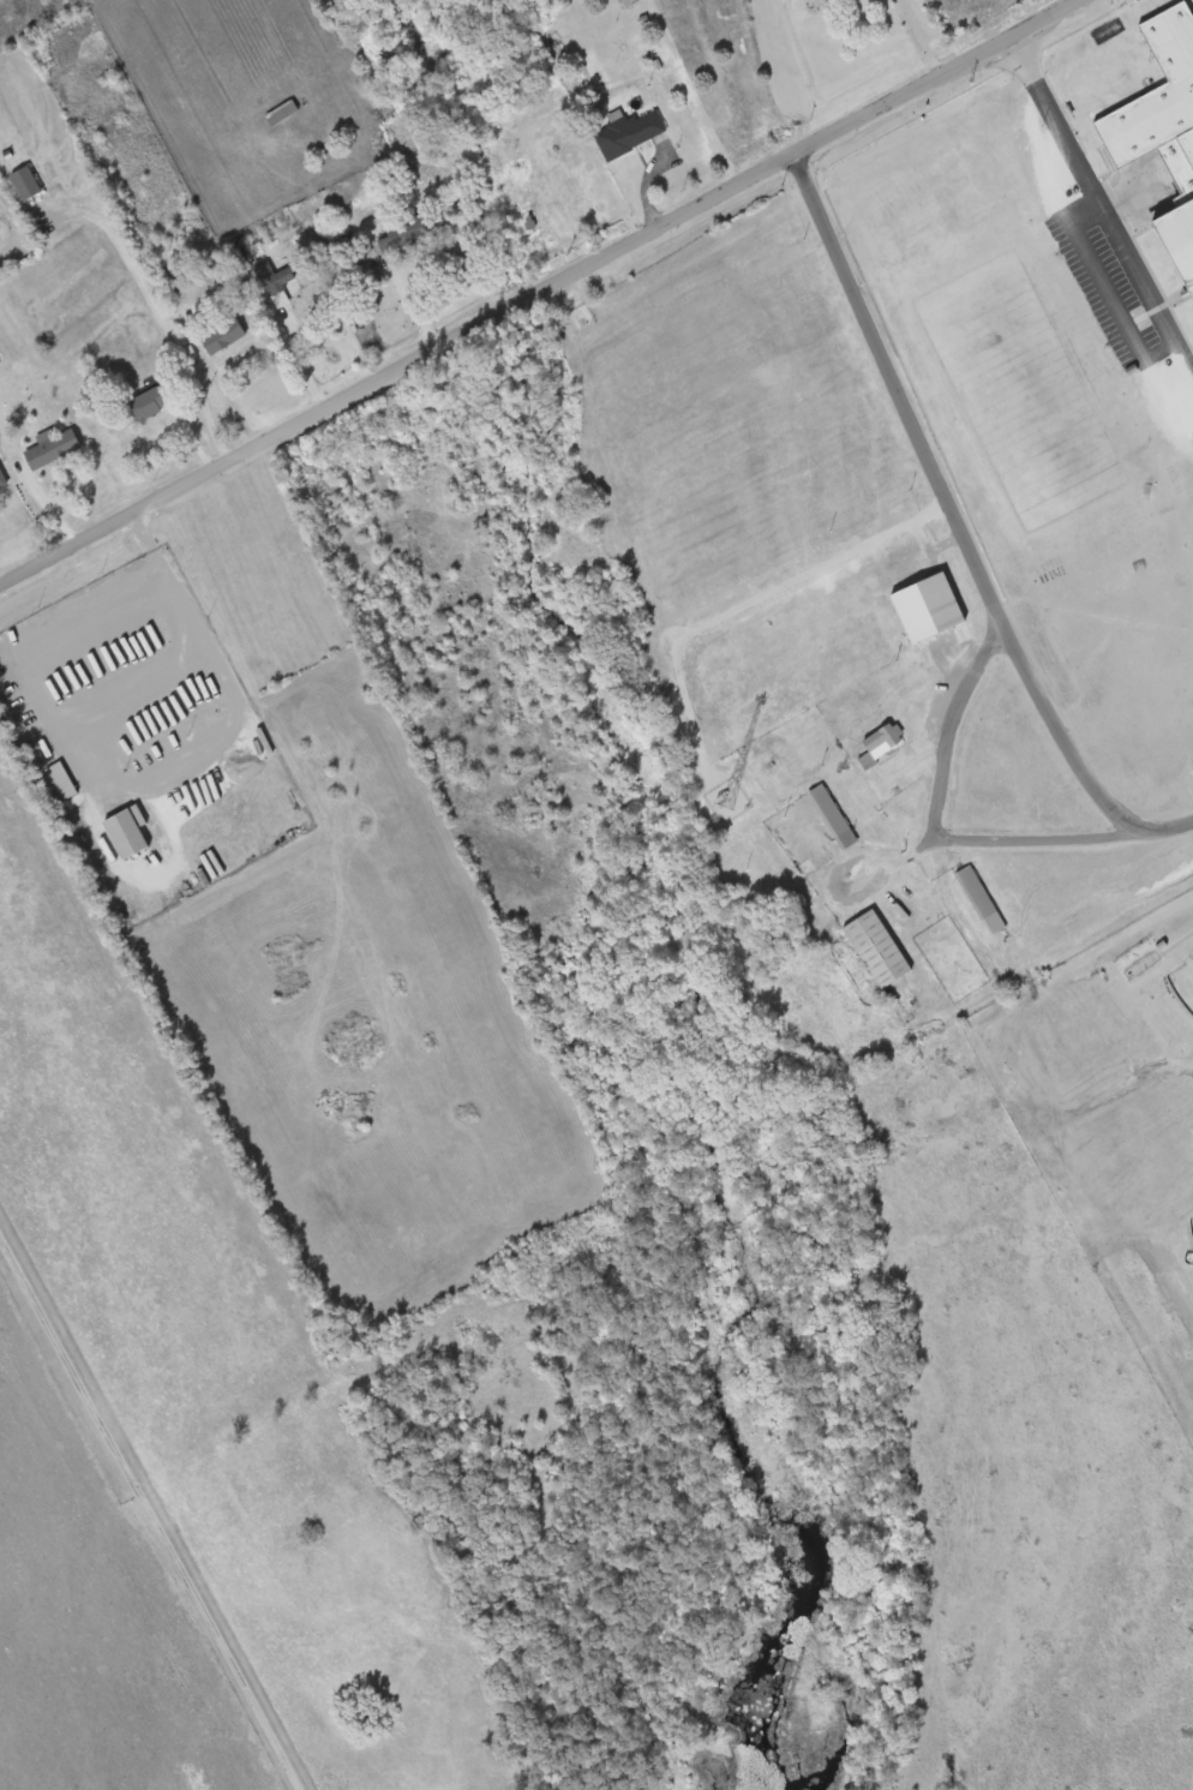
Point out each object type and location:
building: (1157, 94)
building: (281, 112)
building: (630, 133)
building: (25, 182)
building: (533, 223)
building: (1181, 239)
building: (275, 281)
road: (540, 294)
road: (162, 334)
building: (223, 335)
building: (146, 403)
building: (53, 448)
building: (2, 478)
road: (949, 509)
building: (927, 607)
building: (879, 743)
road: (952, 776)
building: (60, 779)
building: (833, 816)
road: (1069, 846)
building: (976, 892)
building: (877, 947)
park: (1182, 986)
park: (1191, 1227)
road: (149, 1515)

